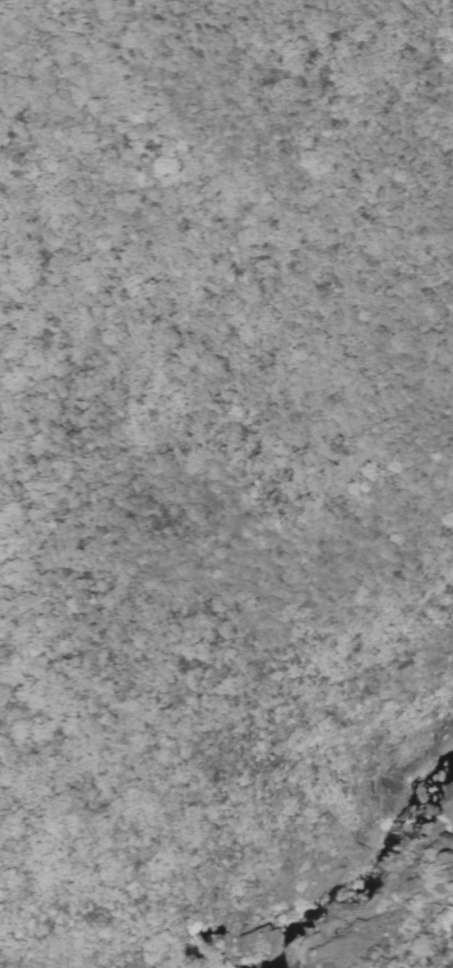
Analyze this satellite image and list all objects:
river: (376, 883)

